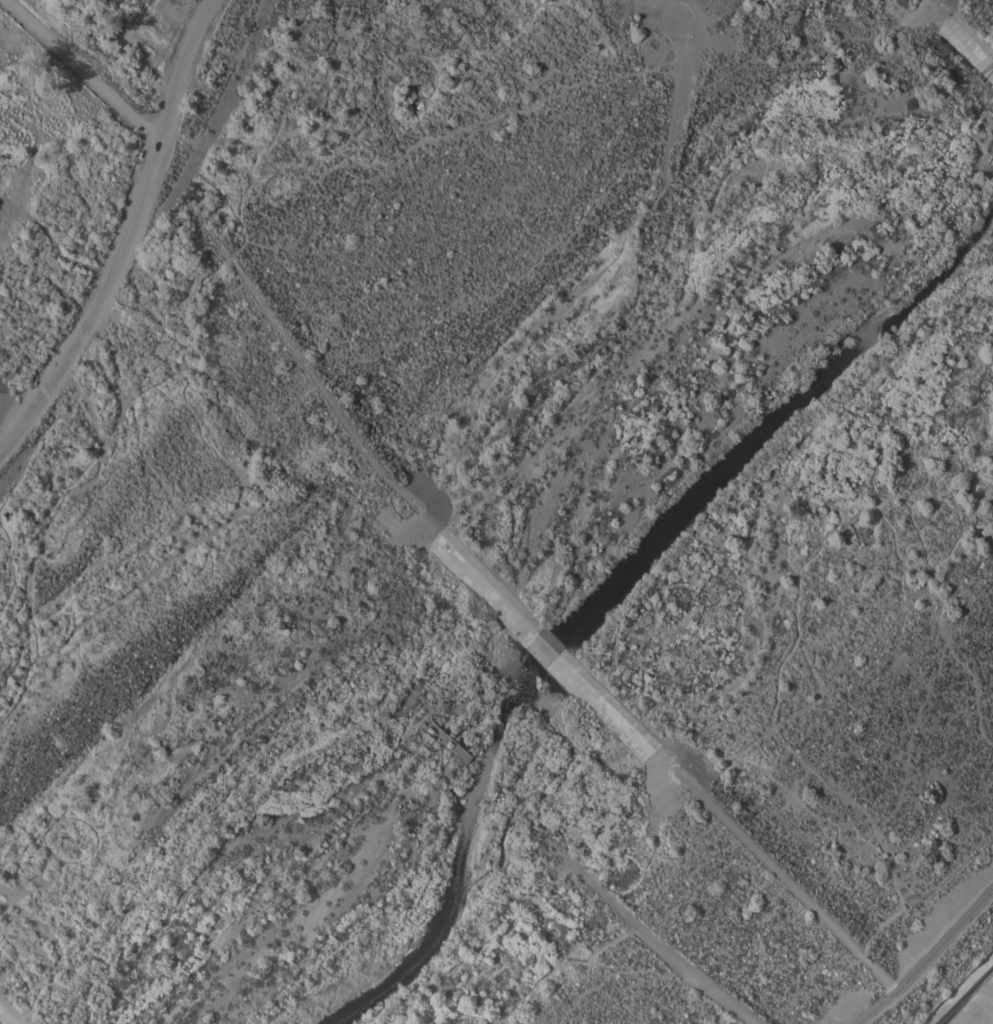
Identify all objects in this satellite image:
parking lot: (171, 27)
road: (81, 67)
road: (125, 233)
road: (69, 322)
road: (12, 405)
building: (471, 575)
river: (616, 585)
building: (446, 742)
road: (925, 957)

